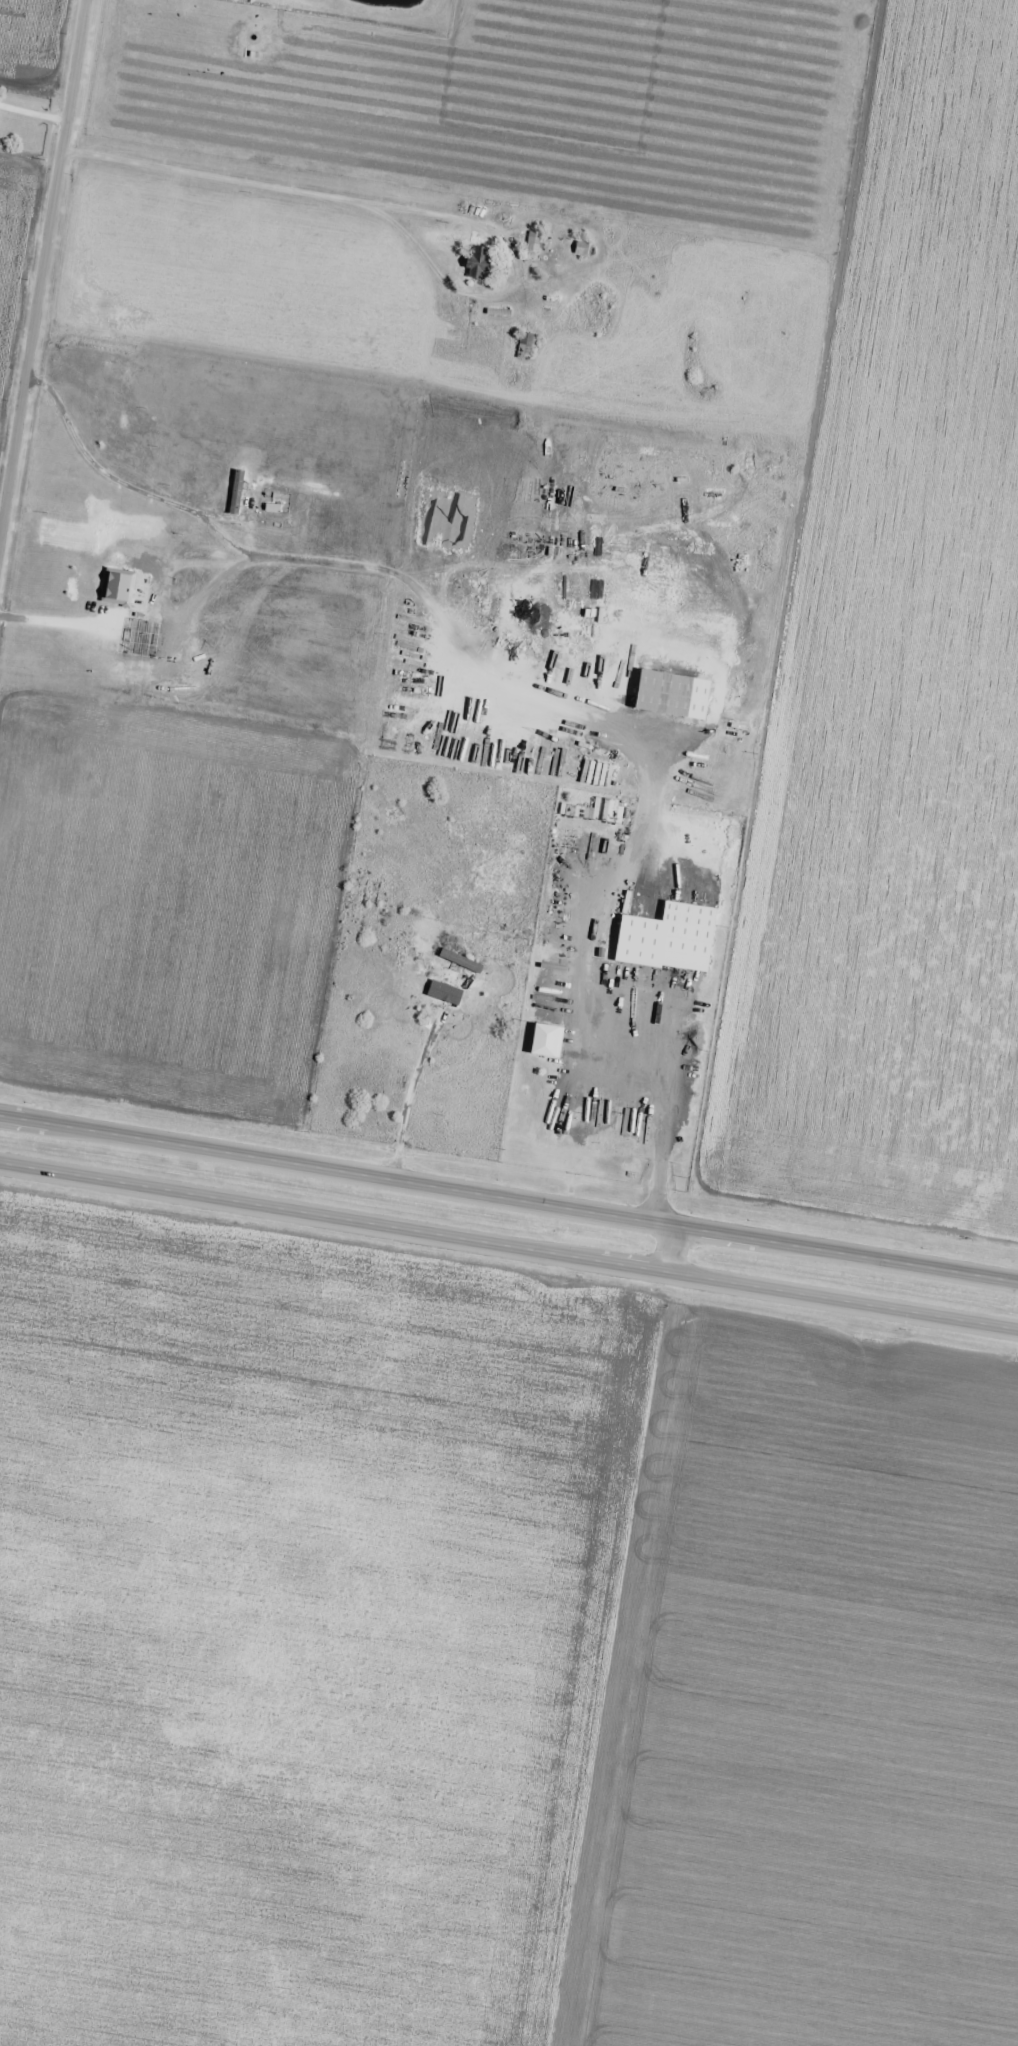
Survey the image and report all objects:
building: (511, 235)
building: (532, 242)
building: (477, 261)
road: (41, 265)
building: (116, 420)
building: (687, 938)
building: (459, 961)
building: (545, 1089)
building: (614, 1103)
road: (509, 1199)
road: (508, 1246)
road: (670, 1249)

